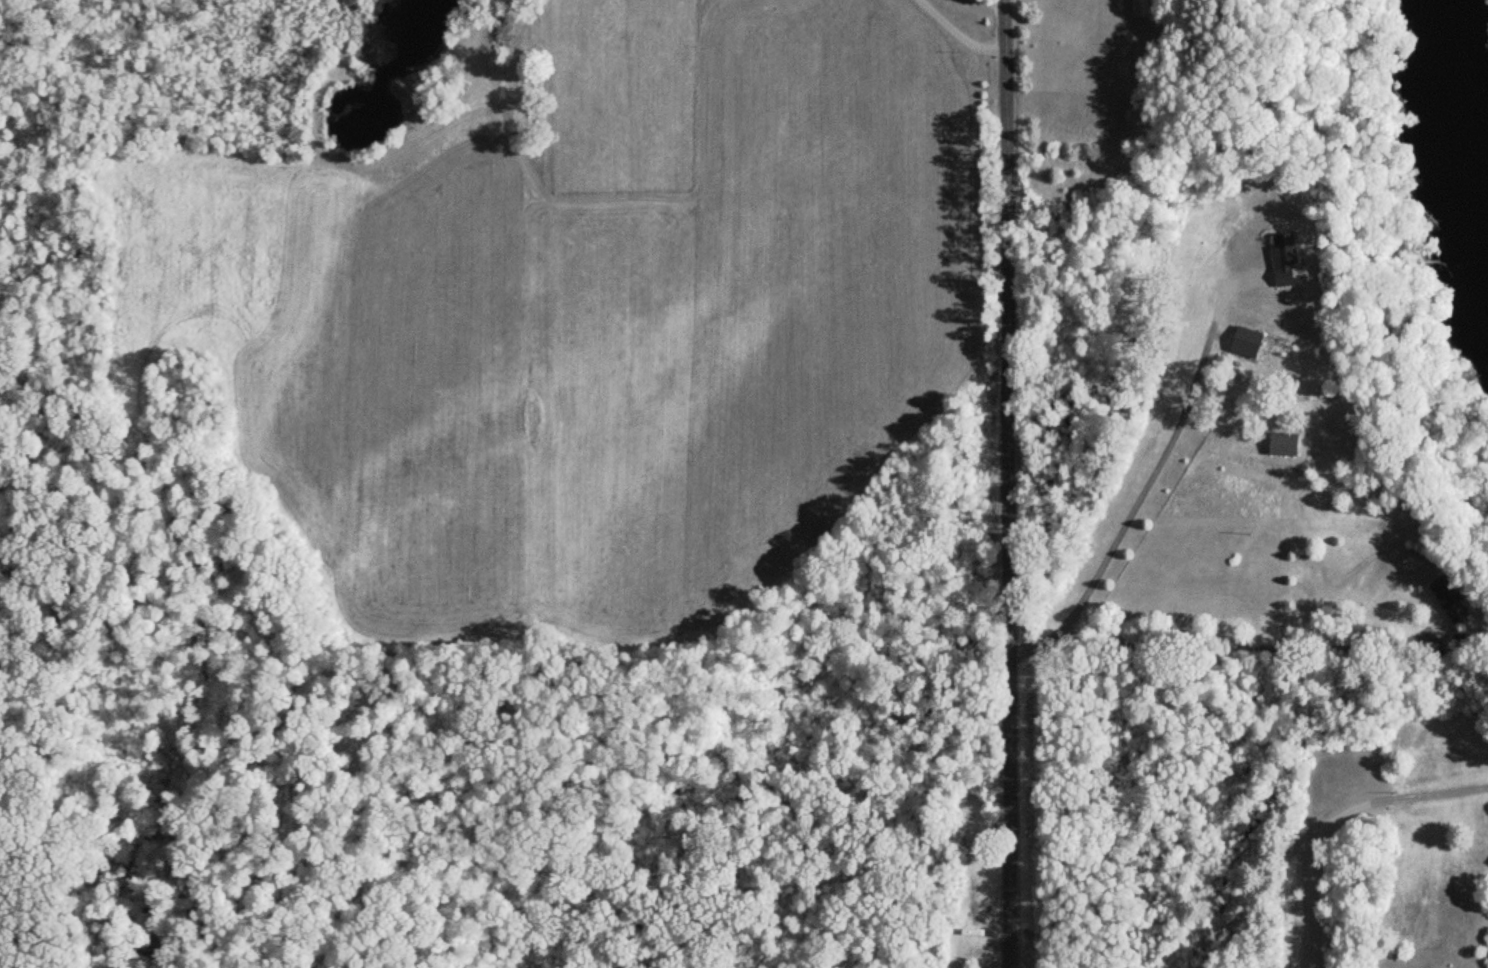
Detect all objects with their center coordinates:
road: (954, 33)
river: (1473, 110)
building: (1262, 356)
road: (1006, 483)
road: (1131, 506)
building: (1448, 600)
road: (1247, 643)
road: (1427, 794)
road: (1309, 871)

